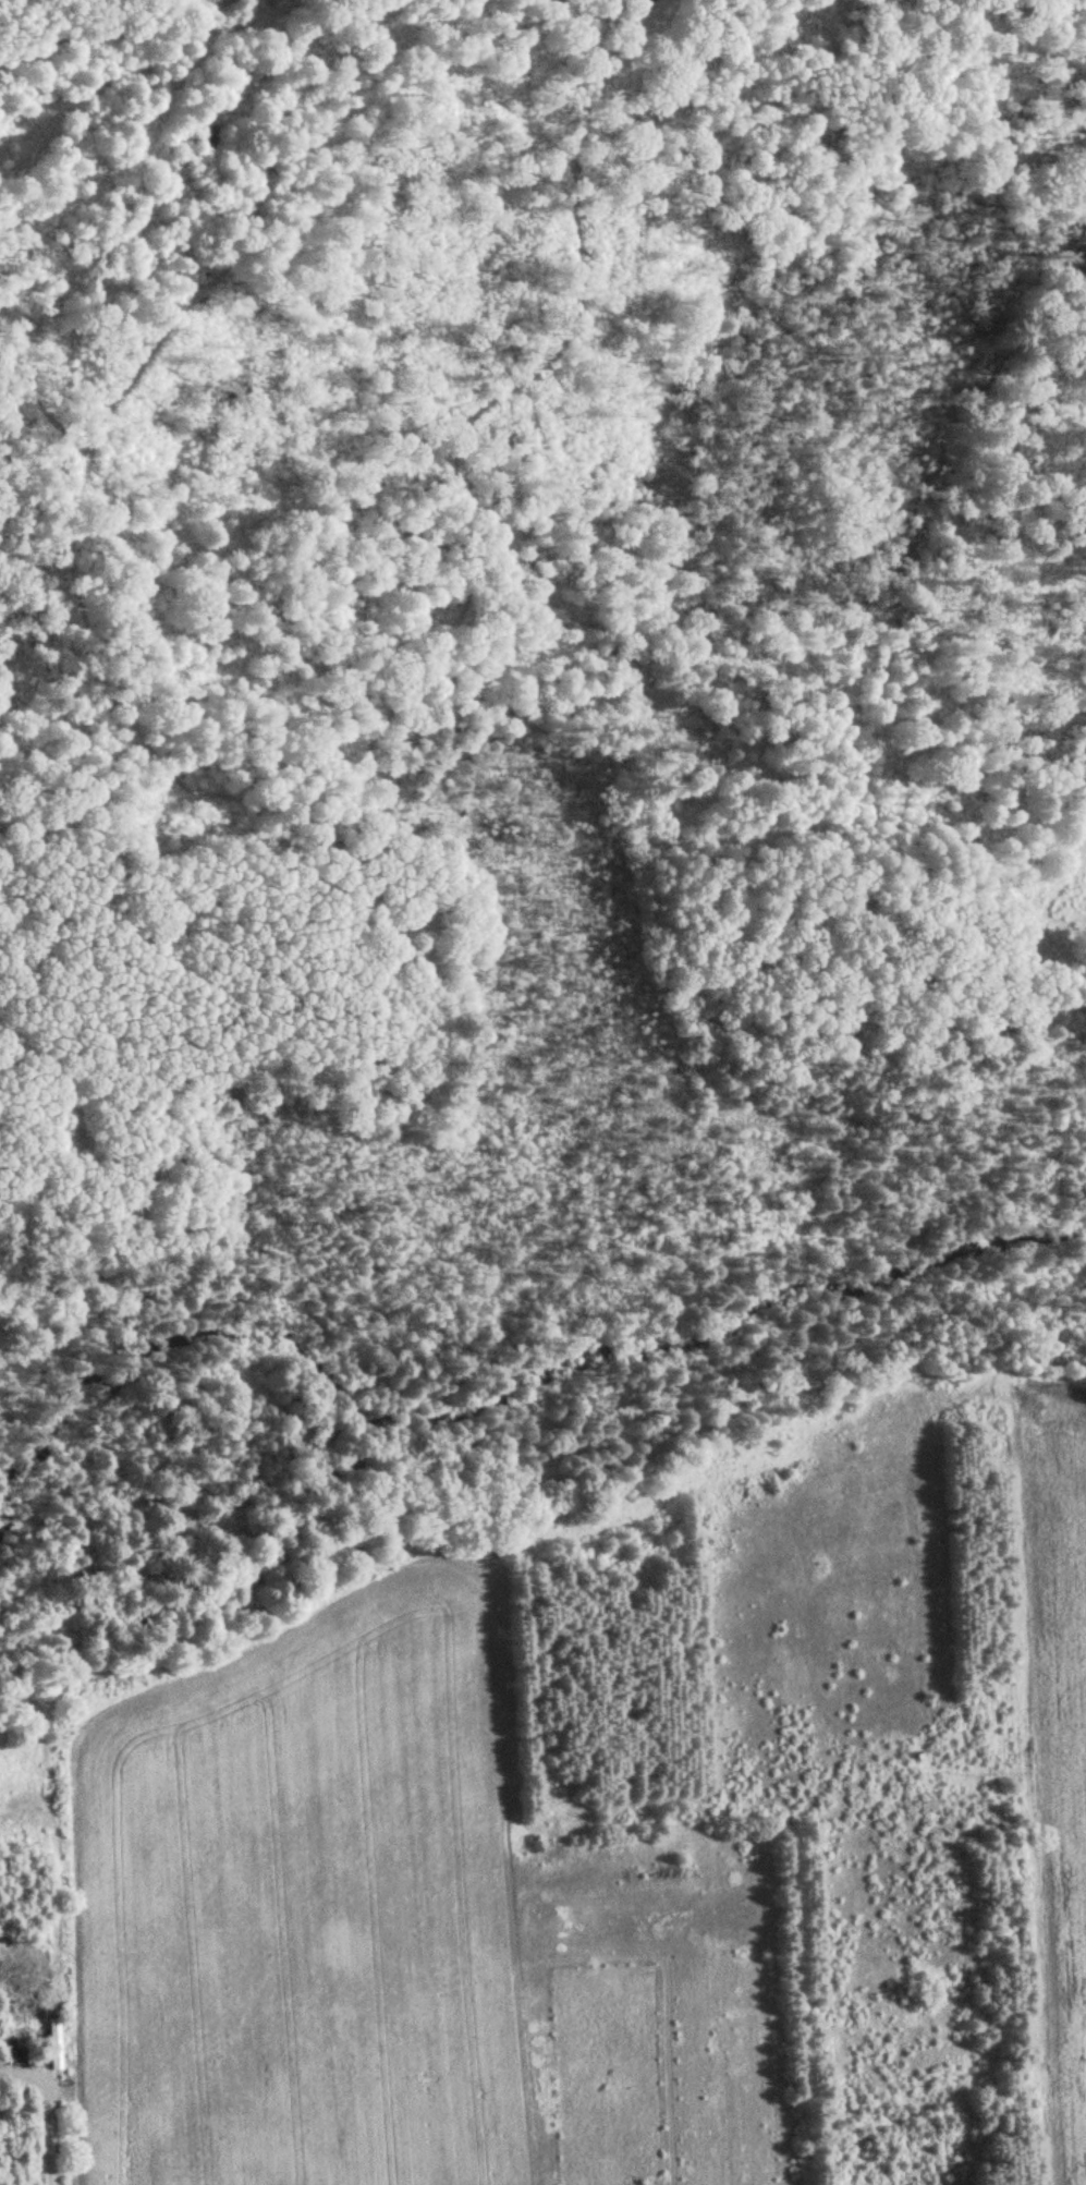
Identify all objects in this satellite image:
road: (44, 2147)

